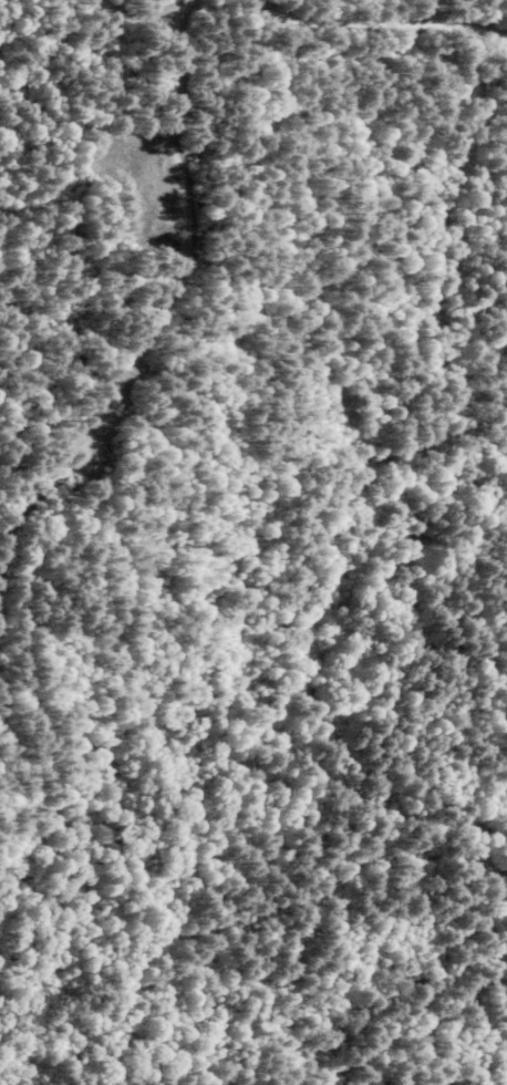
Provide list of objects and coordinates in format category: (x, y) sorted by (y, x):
road: (413, 15)

